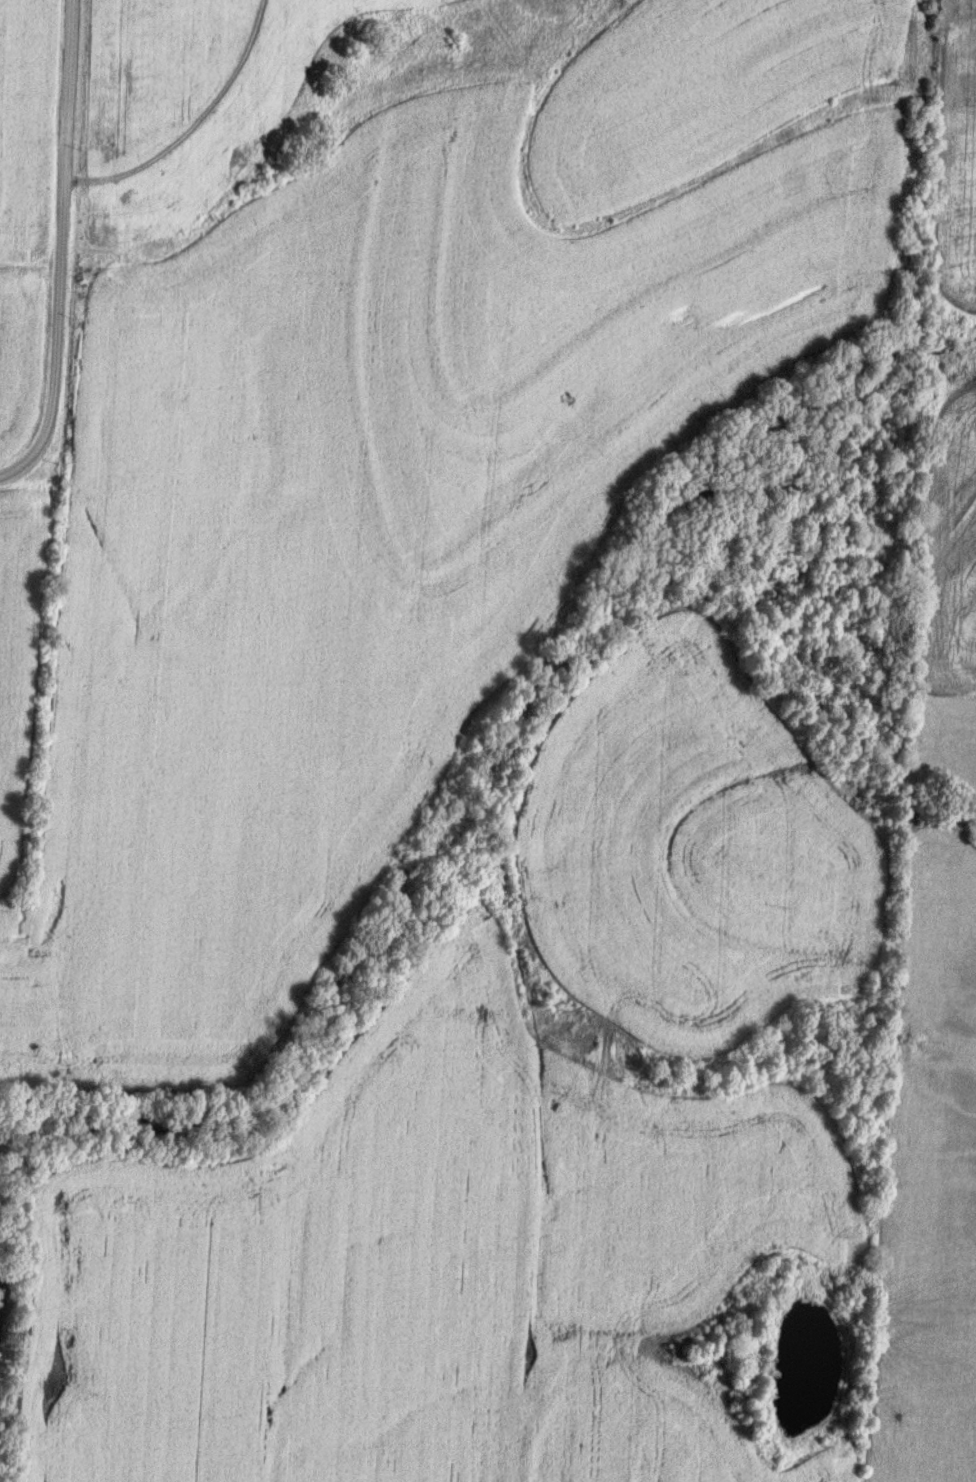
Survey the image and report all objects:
road: (193, 123)
road: (62, 249)

